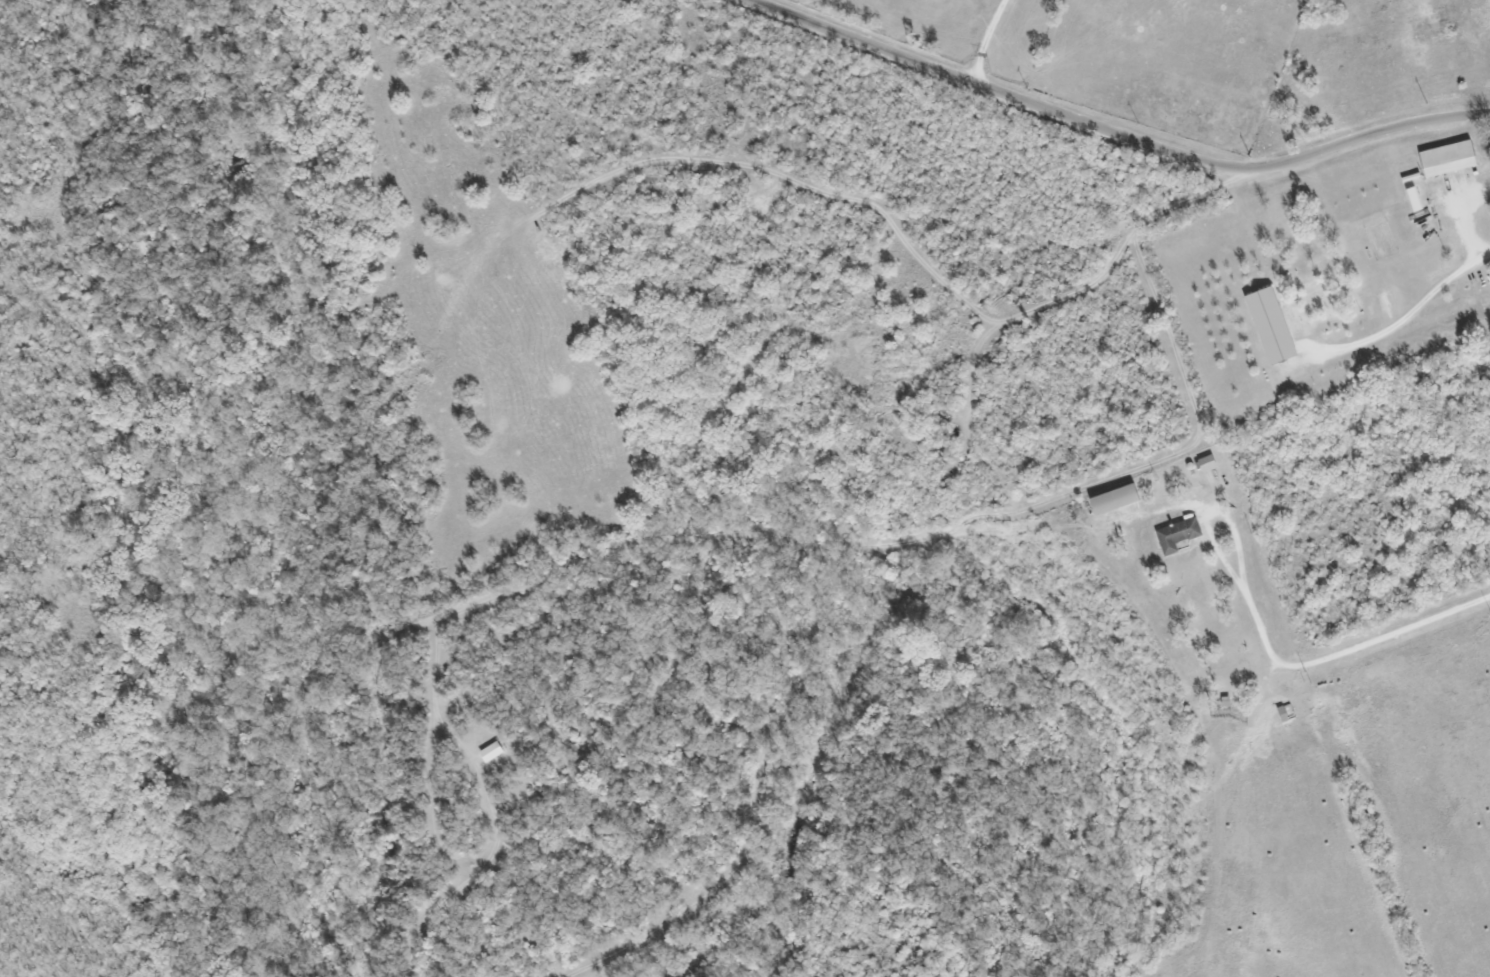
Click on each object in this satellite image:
road: (984, 39)
road: (1115, 129)
building: (1446, 158)
building: (1270, 324)
building: (1205, 463)
building: (1114, 499)
building: (1176, 534)
road: (1235, 536)
road: (1380, 632)
road: (1266, 677)
building: (1285, 712)

